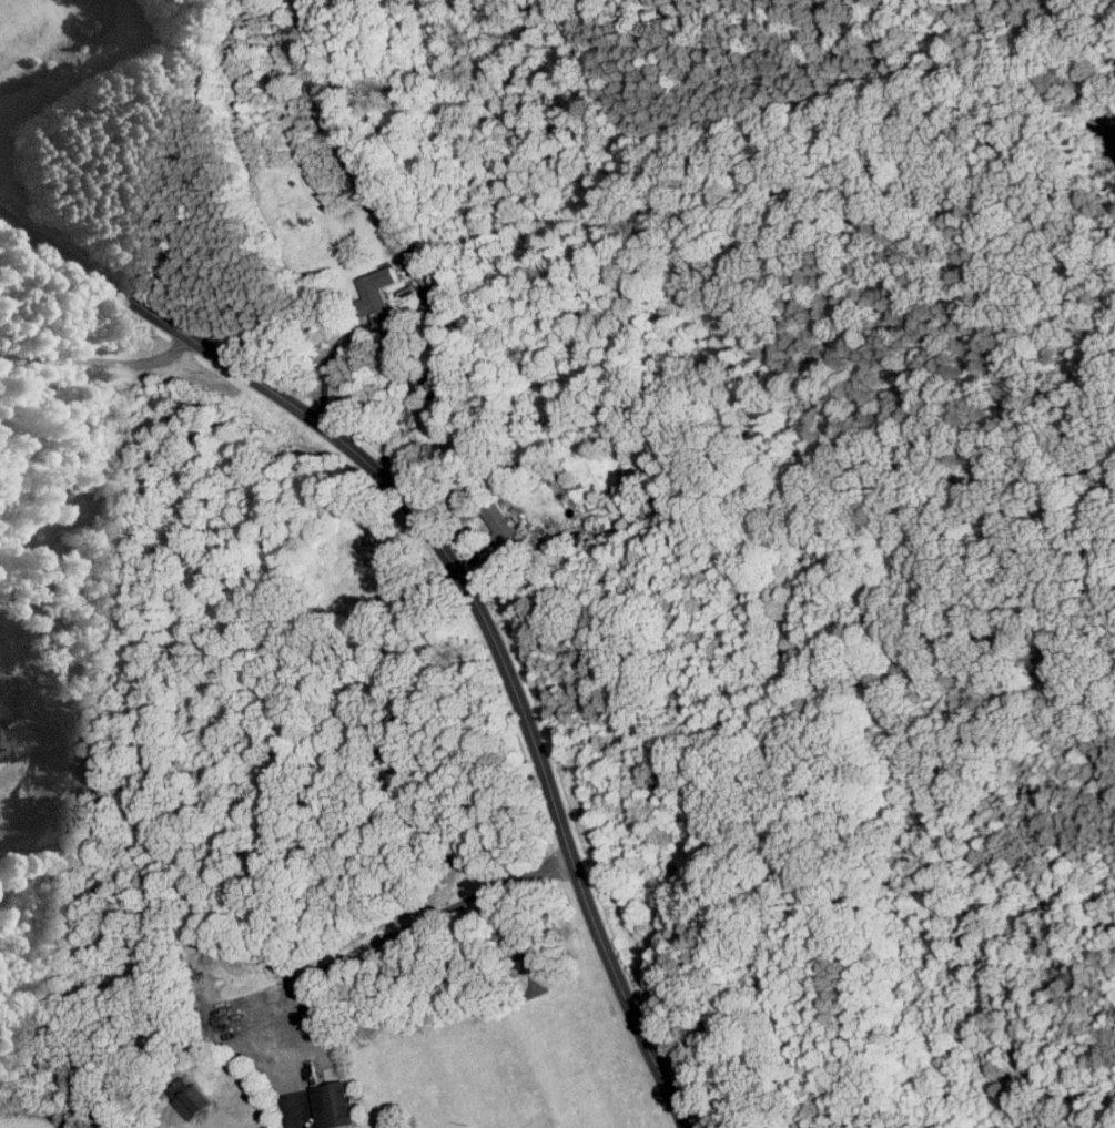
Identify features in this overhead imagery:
building: (378, 292)
road: (392, 337)
road: (99, 362)
road: (460, 579)
building: (6, 744)
road: (439, 911)
road: (280, 1044)
building: (193, 1100)
building: (333, 1104)

